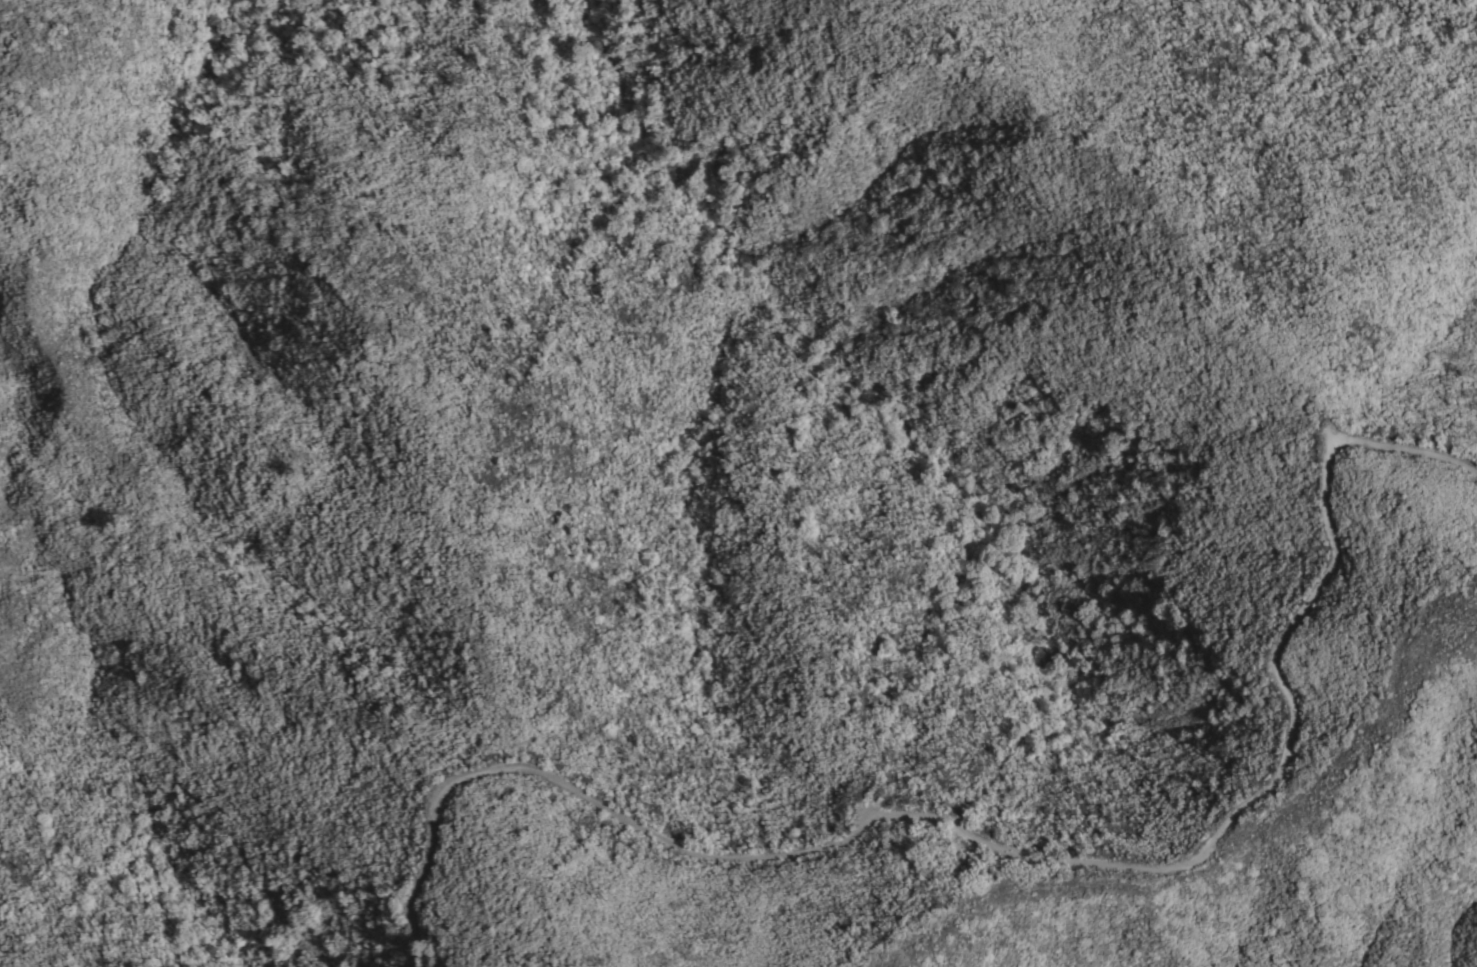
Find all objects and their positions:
road: (1025, 844)

